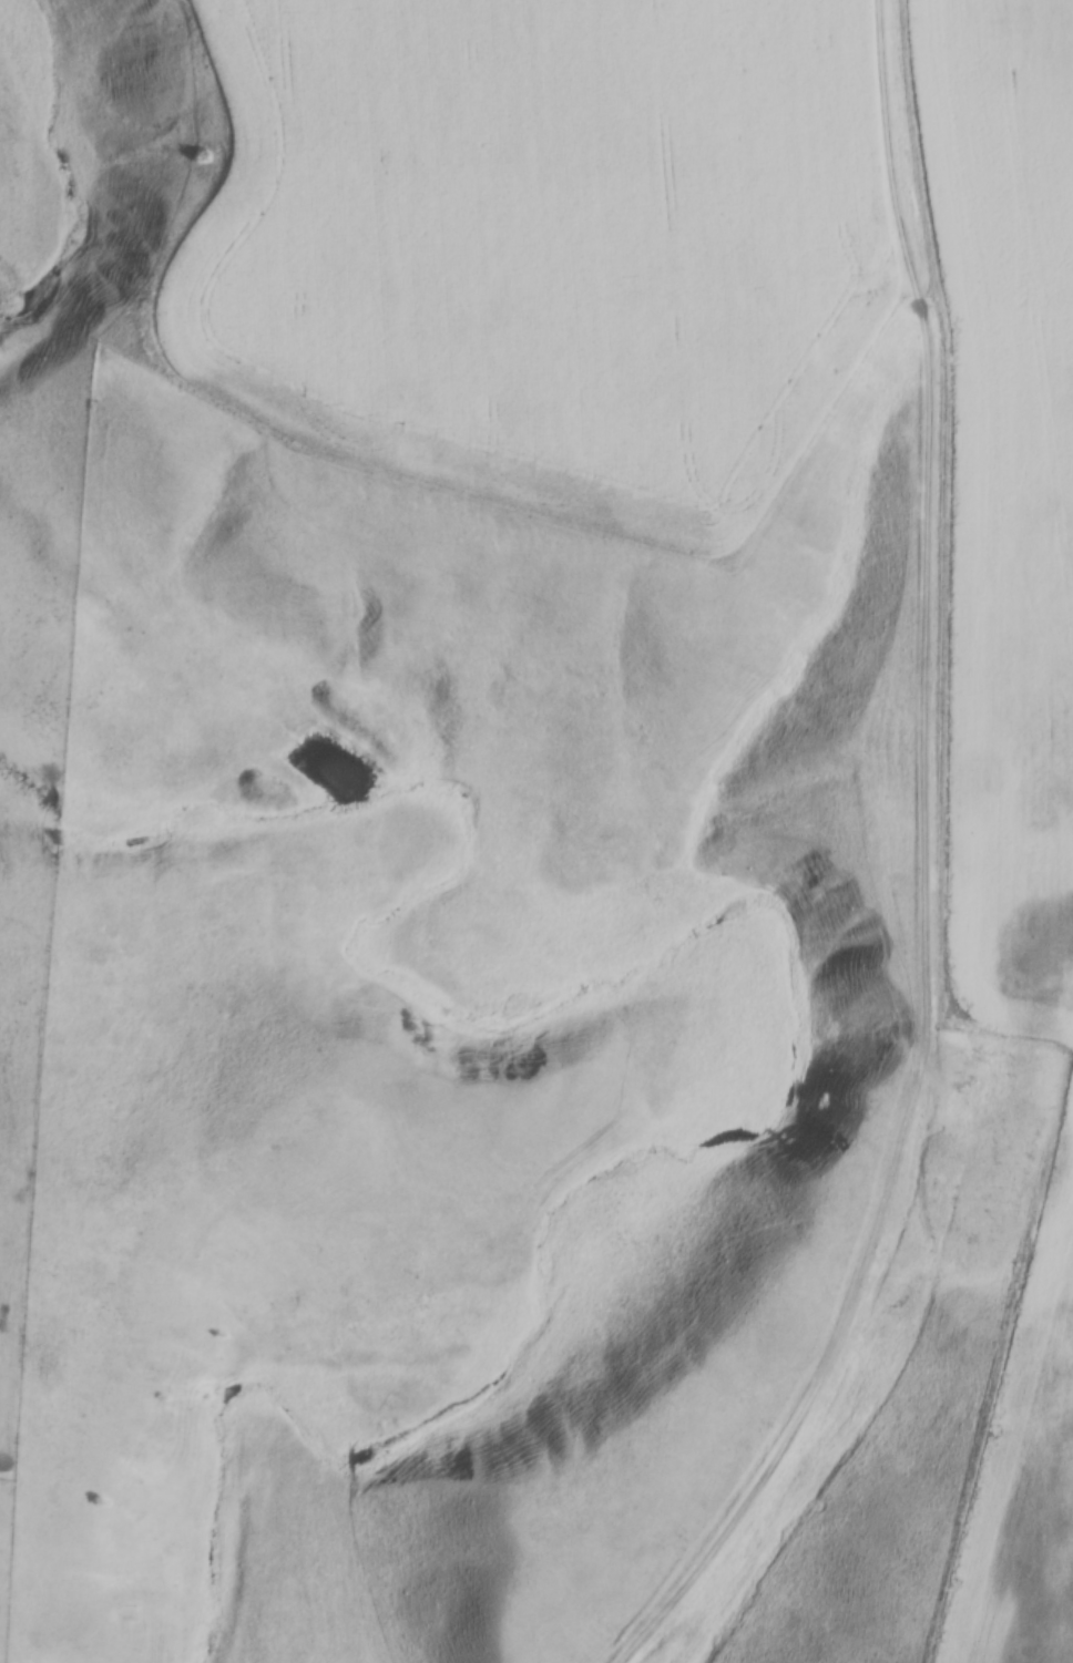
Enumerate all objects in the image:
road: (929, 871)

